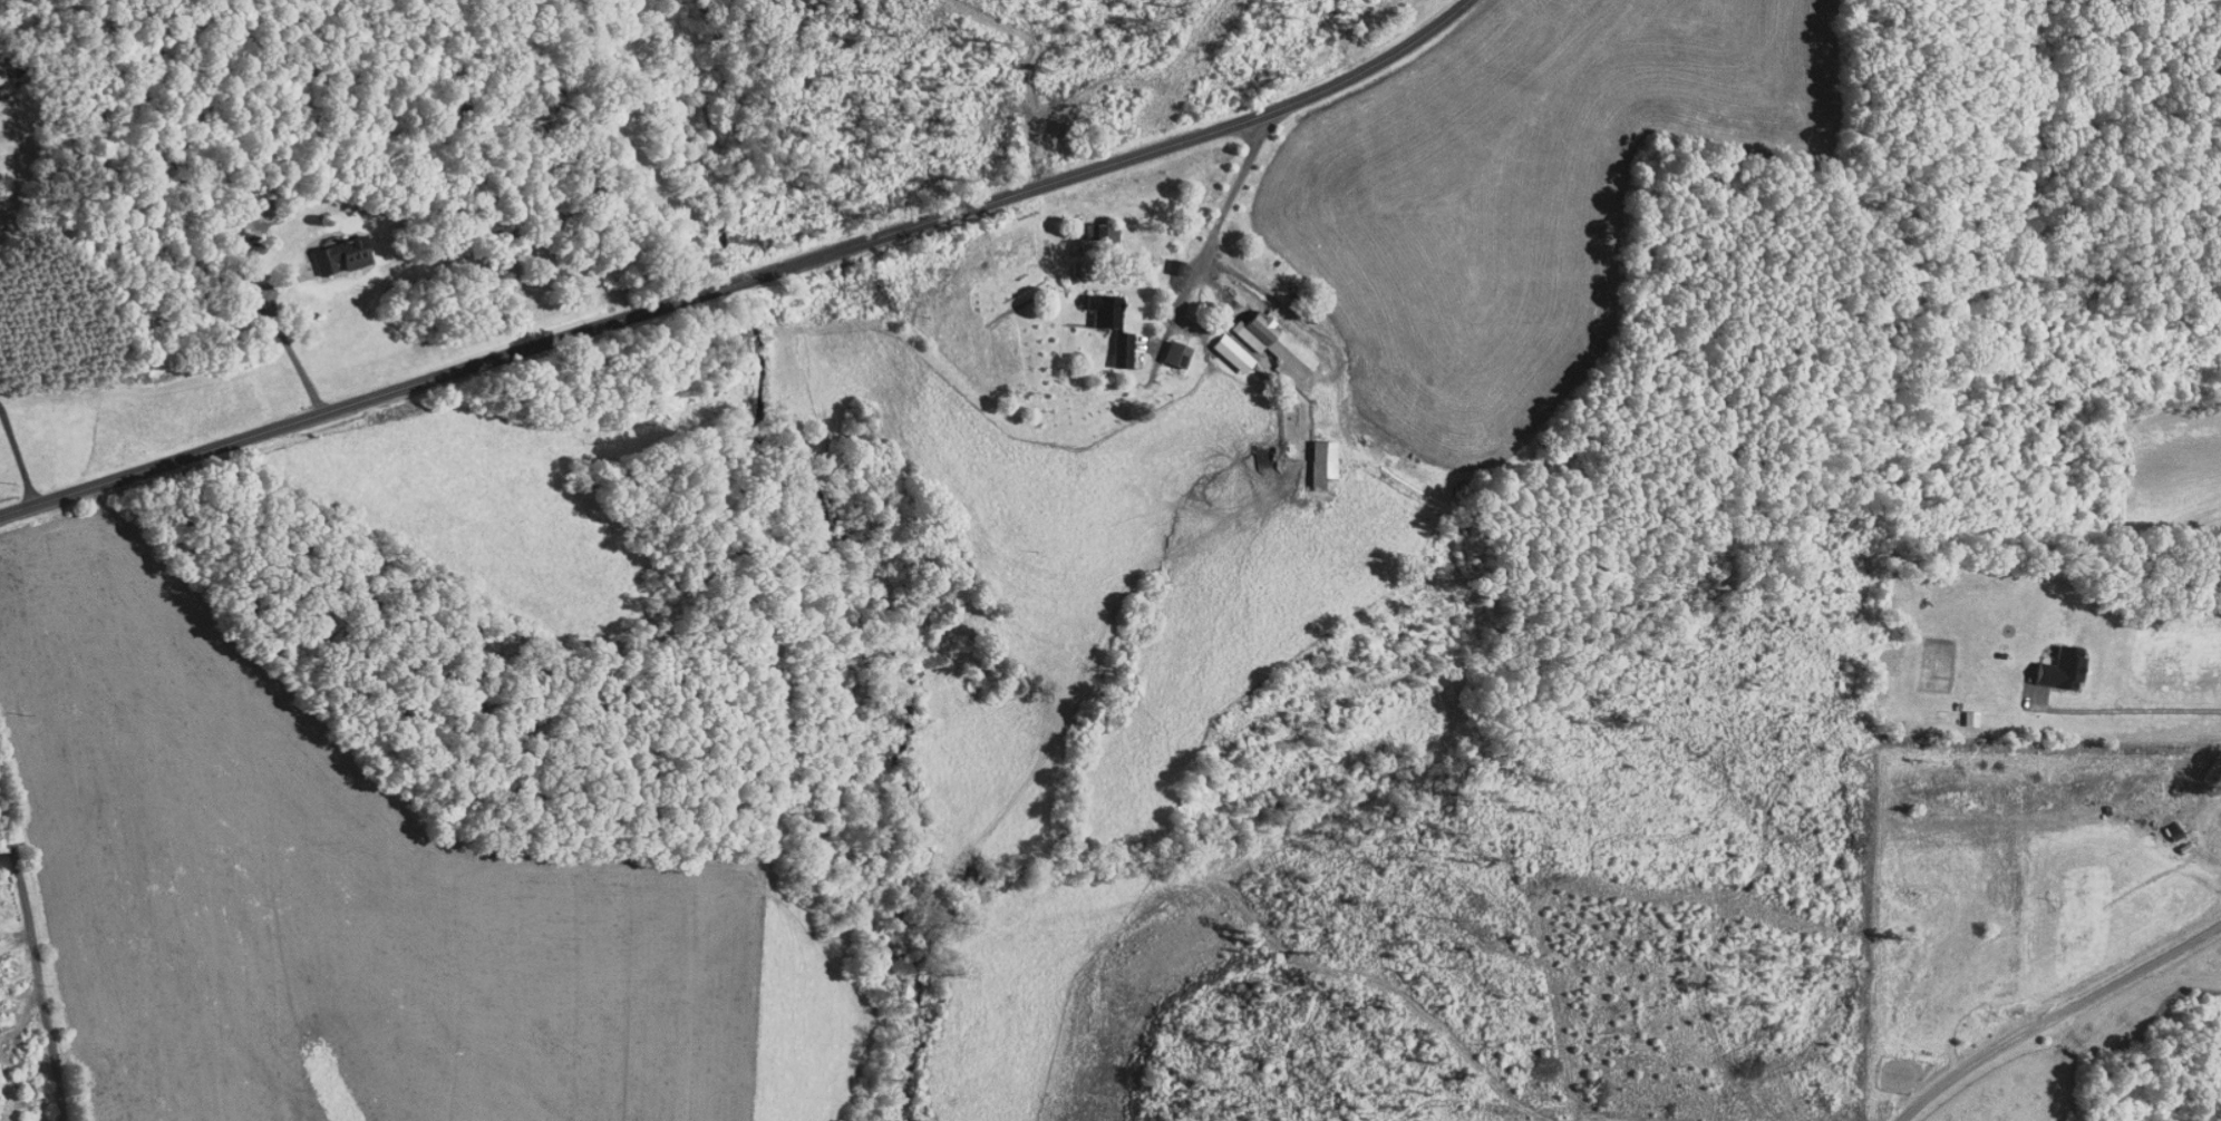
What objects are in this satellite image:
road: (1226, 207)
building: (1090, 225)
building: (332, 247)
road: (739, 275)
building: (1095, 302)
road: (270, 332)
building: (1213, 339)
building: (1265, 339)
building: (1116, 340)
building: (1166, 347)
building: (1312, 456)
building: (2052, 662)
road: (2123, 702)
building: (1961, 712)
road: (36, 961)
road: (2057, 1008)

